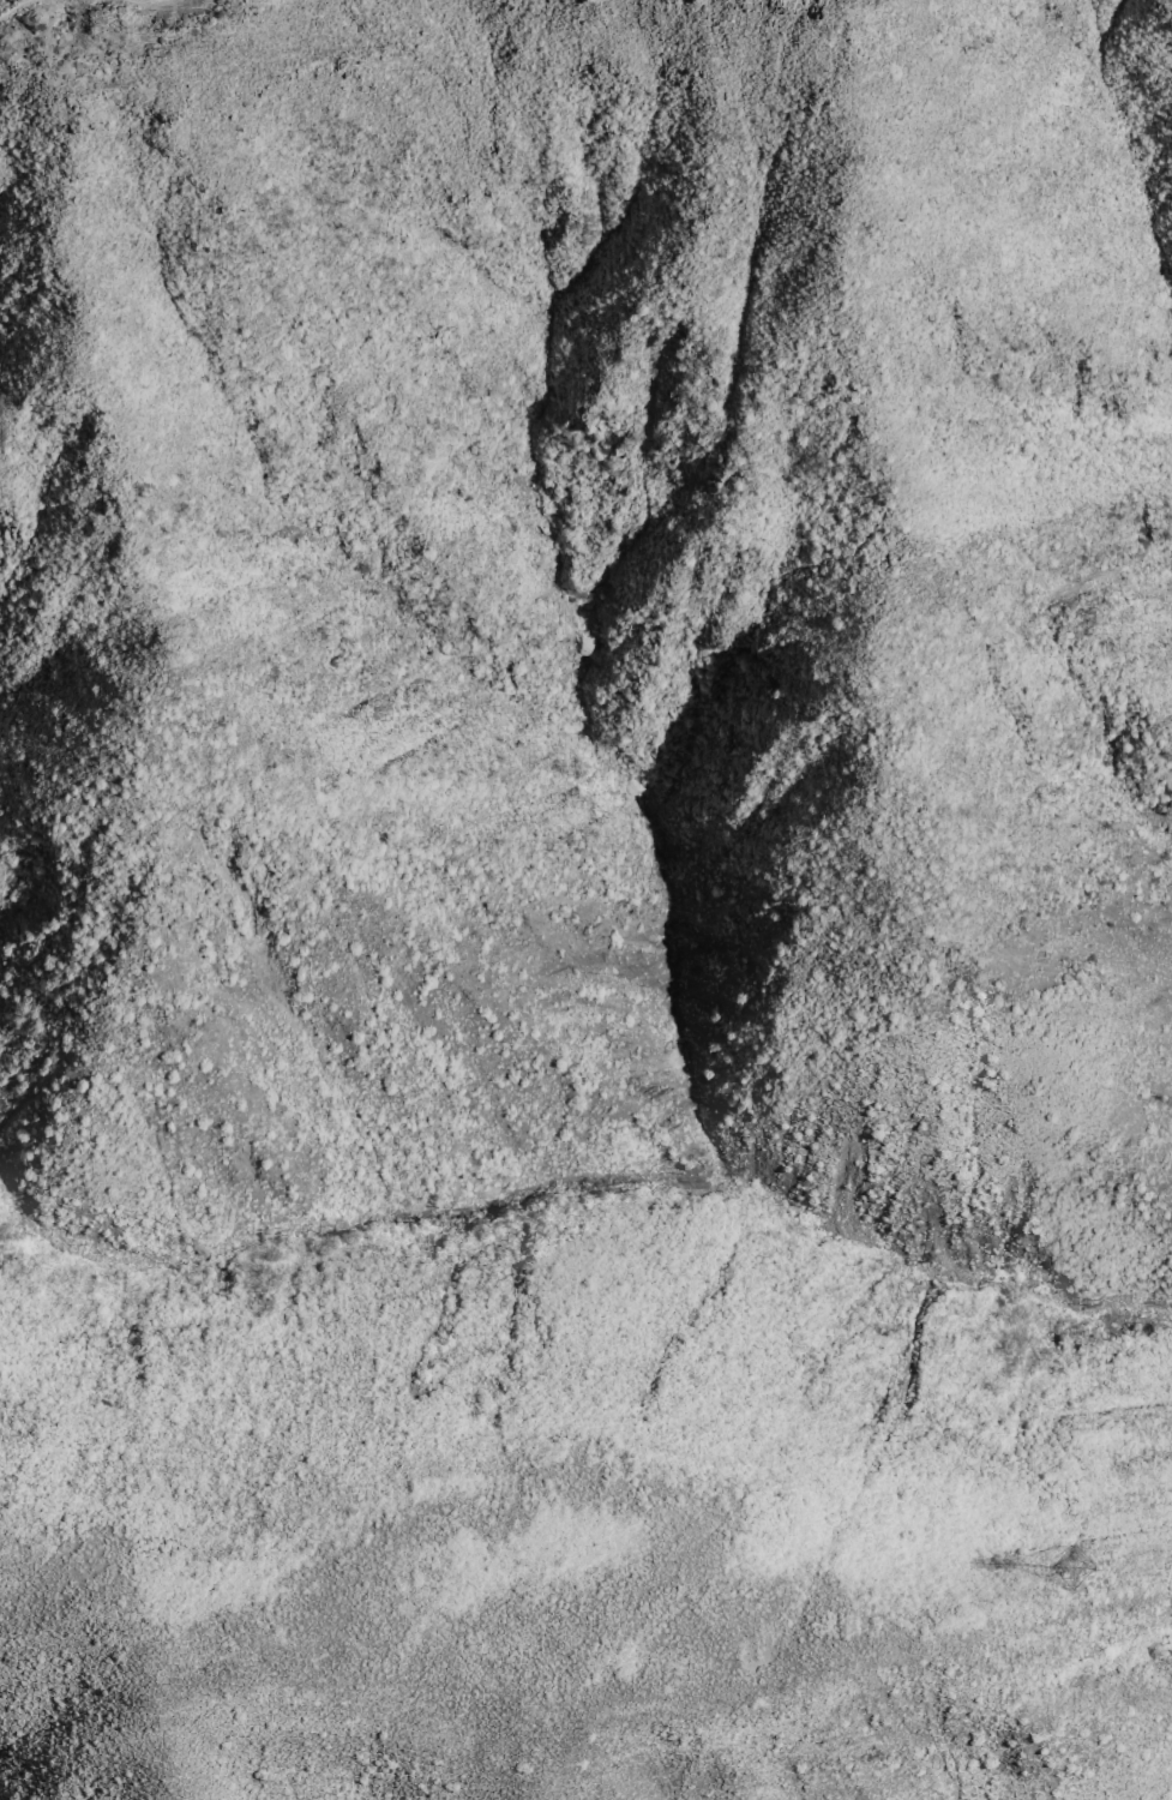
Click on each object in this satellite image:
road: (12, 8)
road: (142, 8)
power tower: (1068, 1570)

